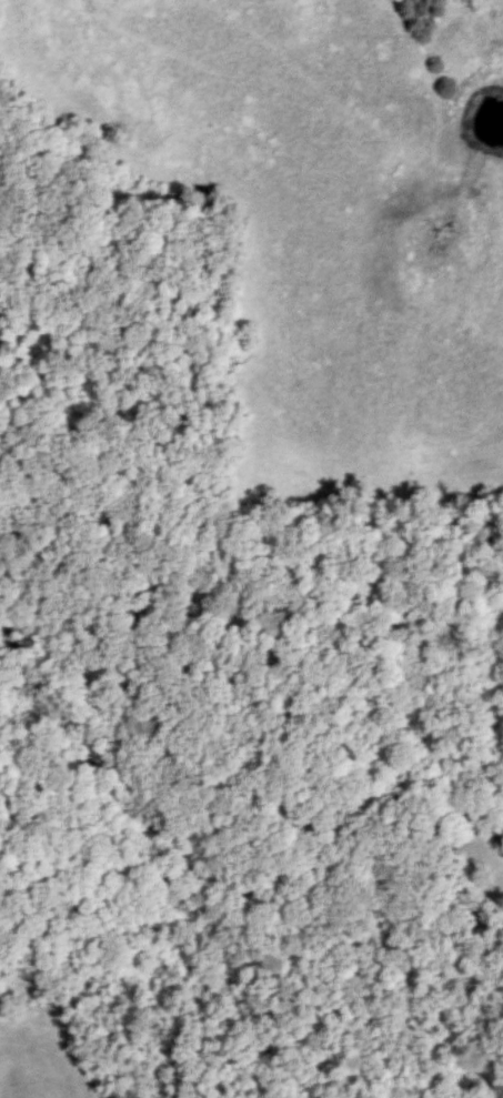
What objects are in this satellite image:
road: (175, 829)

